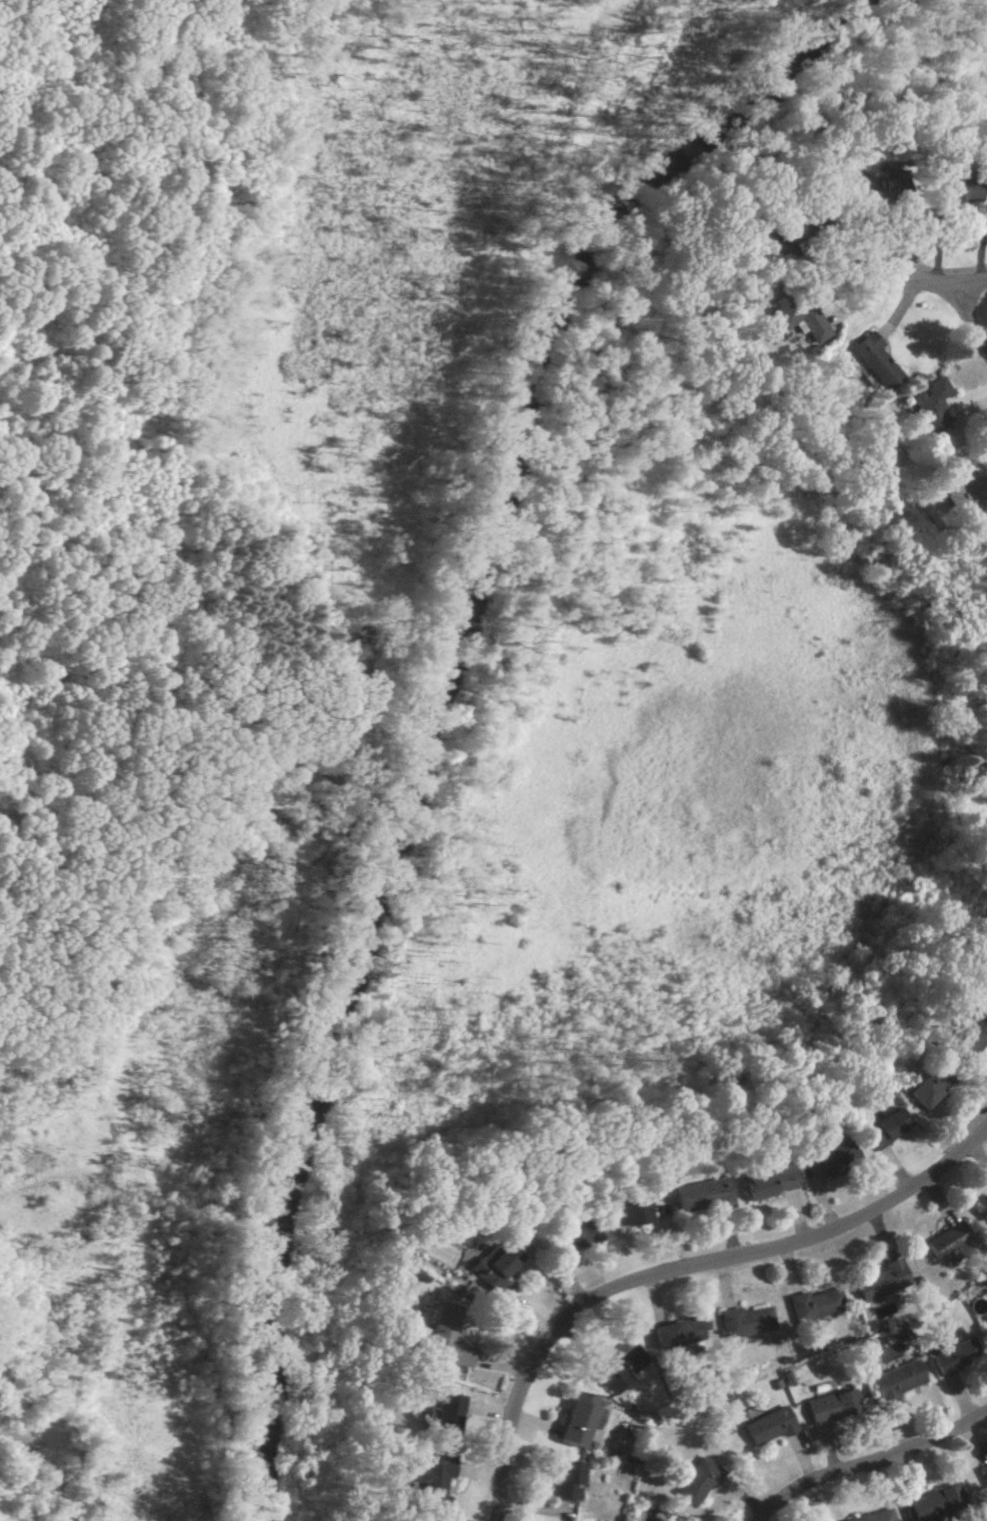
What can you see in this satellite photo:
building: (956, 191)
road: (977, 288)
road: (932, 290)
building: (795, 319)
road: (971, 327)
building: (872, 360)
building: (927, 399)
building: (961, 492)
building: (983, 531)
building: (982, 985)
building: (971, 1034)
building: (925, 1089)
building: (882, 1127)
building: (832, 1152)
building: (767, 1181)
building: (699, 1194)
building: (984, 1203)
building: (626, 1213)
building: (578, 1233)
building: (950, 1242)
building: (489, 1264)
road: (675, 1269)
building: (879, 1281)
building: (813, 1303)
building: (743, 1320)
building: (675, 1332)
building: (446, 1336)
building: (952, 1355)
building: (610, 1377)
building: (896, 1379)
building: (830, 1405)
building: (445, 1413)
building: (578, 1418)
building: (767, 1425)
road: (867, 1462)
building: (985, 1471)
building: (431, 1480)
building: (565, 1480)
building: (695, 1480)
building: (934, 1502)
building: (871, 1516)

